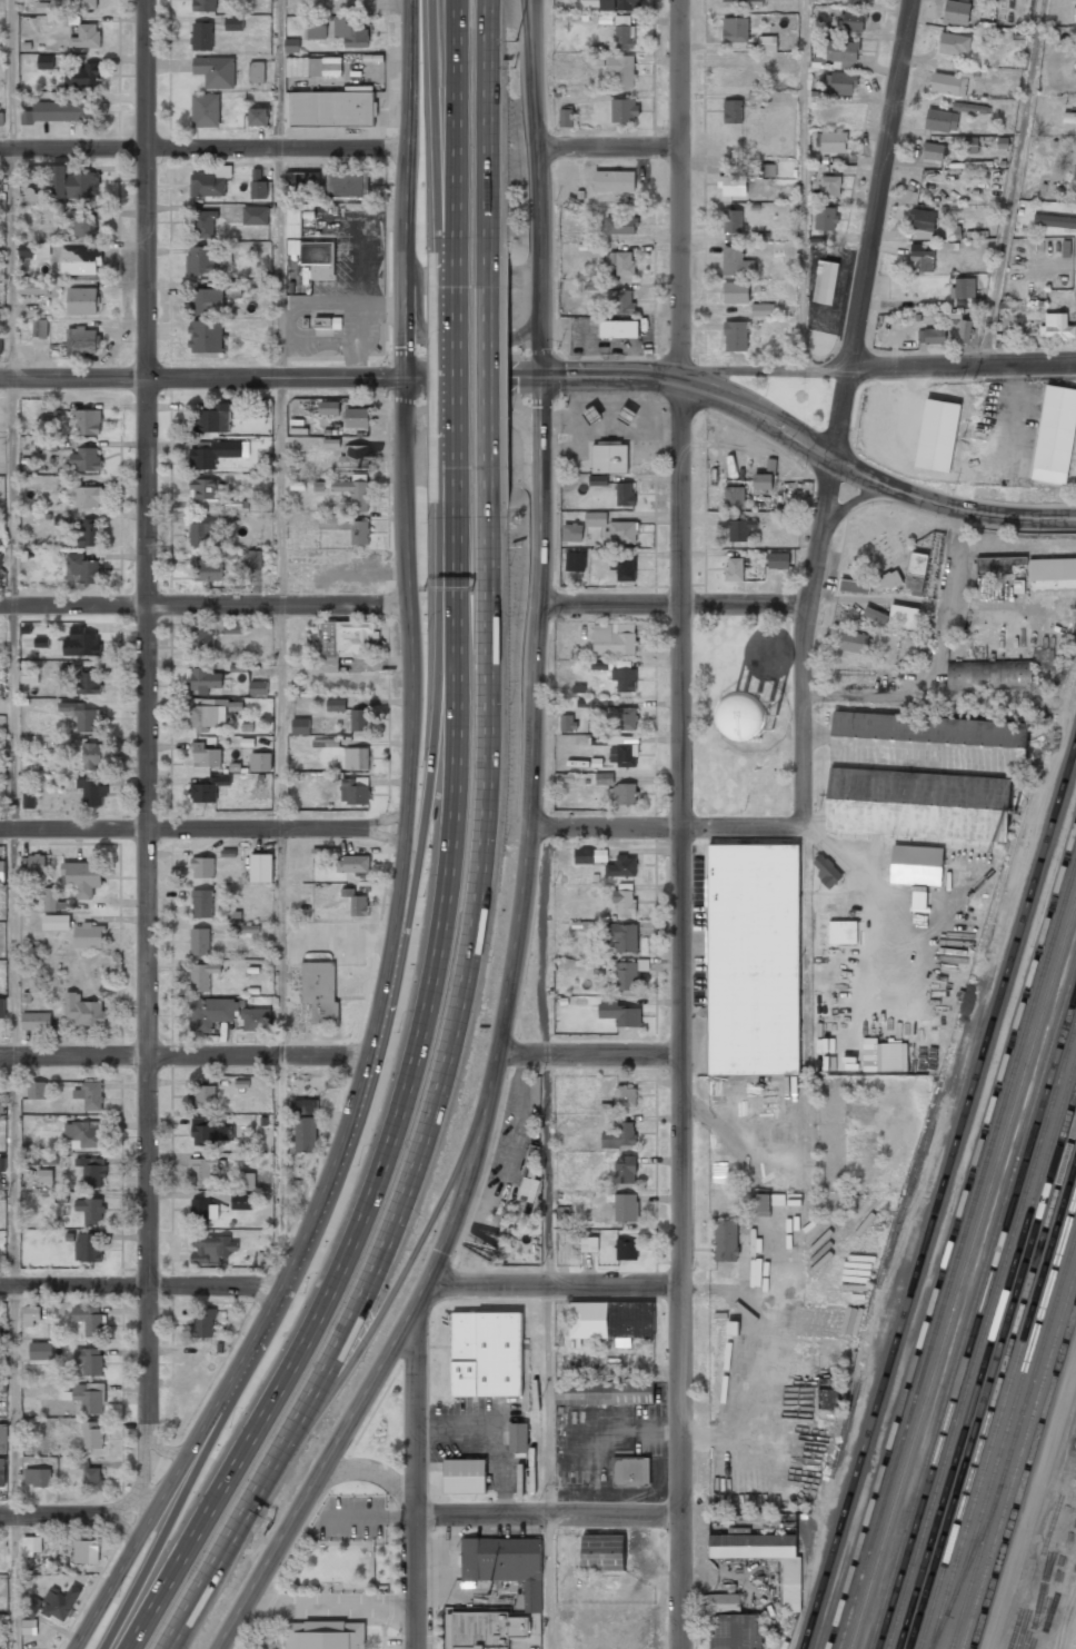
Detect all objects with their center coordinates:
building: (857, 1)
building: (741, 2)
building: (82, 3)
building: (618, 4)
building: (205, 6)
building: (956, 11)
building: (1075, 13)
building: (605, 19)
building: (854, 19)
building: (63, 20)
building: (233, 22)
building: (318, 28)
building: (735, 29)
building: (823, 31)
building: (353, 32)
building: (624, 32)
building: (86, 36)
building: (202, 36)
building: (767, 43)
building: (954, 43)
building: (291, 44)
building: (841, 50)
building: (597, 59)
road: (532, 60)
building: (46, 61)
building: (313, 69)
building: (621, 69)
building: (216, 71)
building: (257, 71)
building: (83, 76)
building: (844, 82)
building: (948, 83)
building: (755, 96)
building: (972, 108)
building: (206, 110)
building: (624, 110)
building: (58, 111)
building: (331, 111)
building: (733, 111)
building: (258, 117)
building: (566, 117)
building: (1069, 117)
building: (1, 118)
building: (941, 120)
road: (459, 130)
road: (491, 131)
road: (432, 132)
building: (830, 141)
road: (408, 142)
road: (611, 145)
building: (970, 145)
road: (203, 149)
building: (936, 150)
road: (544, 159)
building: (821, 159)
building: (766, 169)
building: (811, 169)
building: (302, 179)
building: (614, 180)
building: (210, 181)
building: (1074, 181)
road: (1015, 182)
building: (72, 183)
building: (347, 183)
building: (258, 185)
building: (731, 185)
road: (804, 185)
building: (830, 186)
building: (33, 197)
building: (814, 197)
building: (1, 205)
building: (308, 213)
building: (256, 215)
building: (826, 217)
building: (923, 219)
building: (1054, 220)
building: (83, 222)
building: (293, 222)
building: (206, 223)
building: (620, 225)
building: (733, 225)
building: (952, 232)
building: (817, 241)
building: (293, 246)
building: (1066, 248)
building: (34, 249)
building: (319, 258)
building: (920, 258)
building: (80, 260)
building: (203, 260)
building: (621, 261)
building: (736, 261)
building: (826, 280)
building: (581, 285)
building: (597, 286)
building: (964, 287)
building: (39, 288)
building: (735, 291)
building: (82, 300)
building: (208, 301)
building: (624, 301)
building: (763, 309)
building: (322, 322)
building: (337, 322)
building: (1058, 326)
building: (40, 328)
building: (618, 328)
building: (964, 330)
building: (206, 336)
building: (735, 336)
building: (931, 336)
building: (82, 340)
building: (1, 342)
road: (461, 347)
road: (963, 365)
road: (766, 370)
traffic signals: (545, 372)
road: (341, 377)
traffic signals: (401, 377)
road: (458, 388)
road: (494, 389)
road: (845, 404)
building: (329, 407)
building: (48, 409)
building: (591, 415)
road: (484, 416)
building: (627, 416)
building: (357, 417)
building: (213, 419)
building: (88, 421)
building: (937, 435)
building: (1056, 440)
building: (46, 443)
building: (216, 453)
building: (609, 456)
building: (356, 457)
building: (84, 459)
road: (869, 475)
building: (598, 479)
building: (763, 481)
road: (406, 487)
building: (206, 488)
building: (355, 493)
building: (83, 494)
building: (625, 495)
building: (734, 497)
road: (855, 500)
building: (595, 518)
road: (681, 524)
building: (347, 526)
road: (147, 527)
building: (740, 528)
building: (203, 532)
building: (571, 532)
building: (622, 532)
building: (87, 533)
building: (253, 559)
building: (575, 560)
building: (778, 560)
building: (998, 564)
building: (82, 567)
building: (622, 568)
building: (1053, 568)
building: (207, 569)
building: (734, 569)
building: (916, 570)
building: (887, 580)
building: (854, 586)
road: (203, 602)
road: (674, 602)
building: (875, 614)
building: (903, 616)
building: (233, 629)
building: (612, 640)
building: (41, 642)
building: (202, 642)
building: (854, 642)
building: (79, 643)
building: (341, 643)
road: (282, 644)
building: (1043, 654)
building: (599, 665)
building: (238, 667)
building: (854, 672)
building: (30, 675)
building: (988, 675)
building: (81, 679)
building: (206, 679)
building: (625, 679)
road: (538, 686)
building: (259, 687)
building: (578, 688)
building: (591, 703)
building: (336, 704)
building: (209, 713)
road: (494, 713)
building: (753, 714)
building: (81, 715)
building: (626, 717)
building: (359, 719)
building: (567, 722)
building: (300, 726)
road: (434, 733)
building: (599, 739)
building: (928, 741)
building: (326, 743)
road: (460, 743)
building: (91, 755)
building: (206, 755)
building: (625, 755)
building: (357, 758)
building: (261, 761)
building: (596, 762)
building: (567, 777)
building: (604, 778)
building: (207, 789)
building: (355, 789)
building: (92, 791)
building: (624, 794)
building: (30, 799)
building: (918, 804)
road: (12, 824)
road: (672, 825)
road: (203, 827)
building: (589, 855)
building: (34, 864)
building: (352, 864)
building: (916, 864)
building: (203, 867)
building: (261, 867)
building: (621, 867)
building: (2, 871)
building: (827, 871)
road: (402, 874)
building: (83, 877)
building: (918, 896)
building: (51, 898)
building: (357, 902)
building: (624, 902)
building: (202, 903)
building: (57, 922)
building: (584, 924)
building: (249, 928)
building: (89, 935)
building: (624, 936)
building: (200, 941)
building: (754, 963)
building: (627, 975)
building: (202, 976)
building: (320, 991)
building: (2, 1007)
building: (83, 1010)
building: (211, 1012)
building: (620, 1012)
building: (257, 1019)
building: (36, 1021)
railway: (953, 1049)
road: (595, 1051)
road: (186, 1056)
building: (891, 1056)
building: (37, 1090)
building: (90, 1095)
building: (205, 1096)
building: (625, 1097)
building: (305, 1106)
building: (210, 1131)
building: (84, 1134)
building: (306, 1134)
building: (621, 1134)
building: (50, 1160)
building: (202, 1170)
building: (626, 1170)
building: (92, 1171)
building: (46, 1175)
building: (530, 1178)
building: (246, 1181)
railway: (939, 1198)
building: (242, 1201)
building: (627, 1209)
building: (91, 1210)
building: (202, 1211)
road: (547, 1235)
building: (726, 1240)
railway: (953, 1241)
building: (88, 1246)
building: (585, 1246)
building: (212, 1248)
building: (626, 1251)
railway: (958, 1258)
road: (419, 1263)
road: (150, 1268)
railway: (963, 1274)
road: (141, 1279)
road: (556, 1281)
railway: (968, 1290)
road: (372, 1297)
railway: (973, 1307)
building: (32, 1314)
building: (90, 1319)
railway: (977, 1320)
building: (610, 1321)
building: (203, 1323)
road: (319, 1324)
railway: (982, 1338)
road: (681, 1349)
building: (41, 1351)
railway: (987, 1353)
building: (489, 1359)
road: (390, 1360)
building: (89, 1361)
road: (240, 1361)
railway: (992, 1371)
building: (3, 1384)
railway: (998, 1390)
building: (604, 1392)
building: (88, 1397)
building: (828, 1399)
building: (728, 1402)
railway: (1003, 1405)
road: (416, 1412)
railway: (1008, 1423)
building: (92, 1434)
building: (3, 1438)
building: (518, 1438)
railway: (1013, 1442)
railway: (1019, 1461)
building: (630, 1471)
building: (2, 1472)
road: (377, 1472)
building: (465, 1476)
building: (38, 1477)
building: (91, 1477)
railway: (1025, 1479)
road: (548, 1512)
road: (168, 1518)
road: (72, 1522)
building: (32, 1544)
building: (87, 1551)
building: (602, 1552)
building: (764, 1557)
building: (506, 1563)
road: (416, 1580)
building: (725, 1601)
building: (60, 1602)
building: (33, 1603)
building: (484, 1629)
building: (736, 1631)
building: (325, 1635)
building: (1074, 1640)

